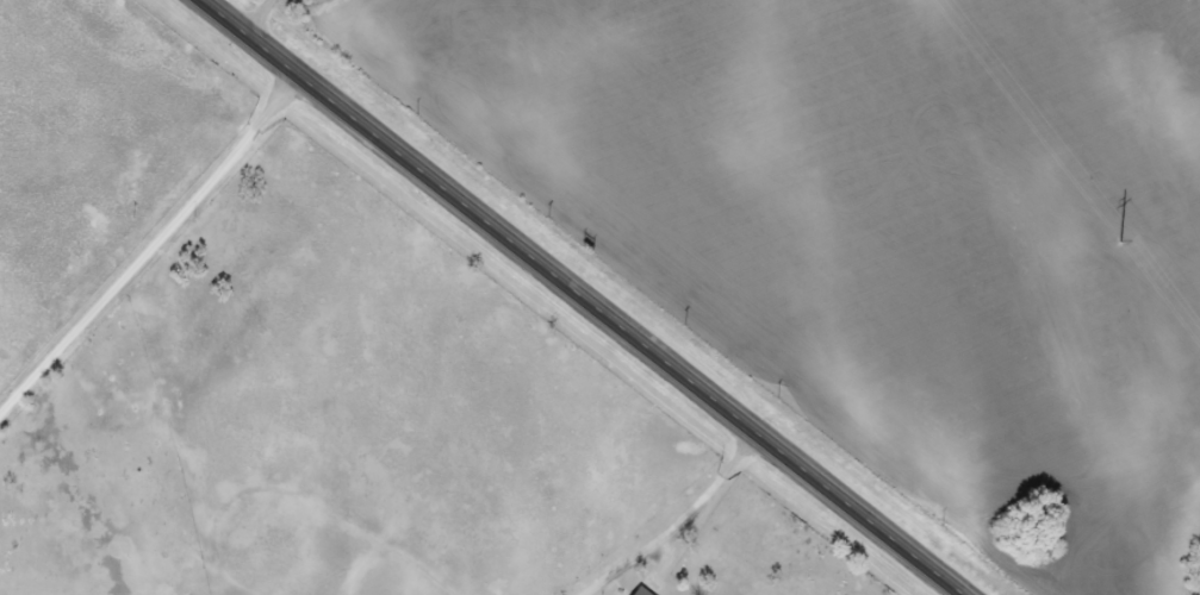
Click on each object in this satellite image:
road: (266, 15)
power tower: (1111, 231)
road: (589, 297)
railway: (629, 297)
building: (639, 593)

